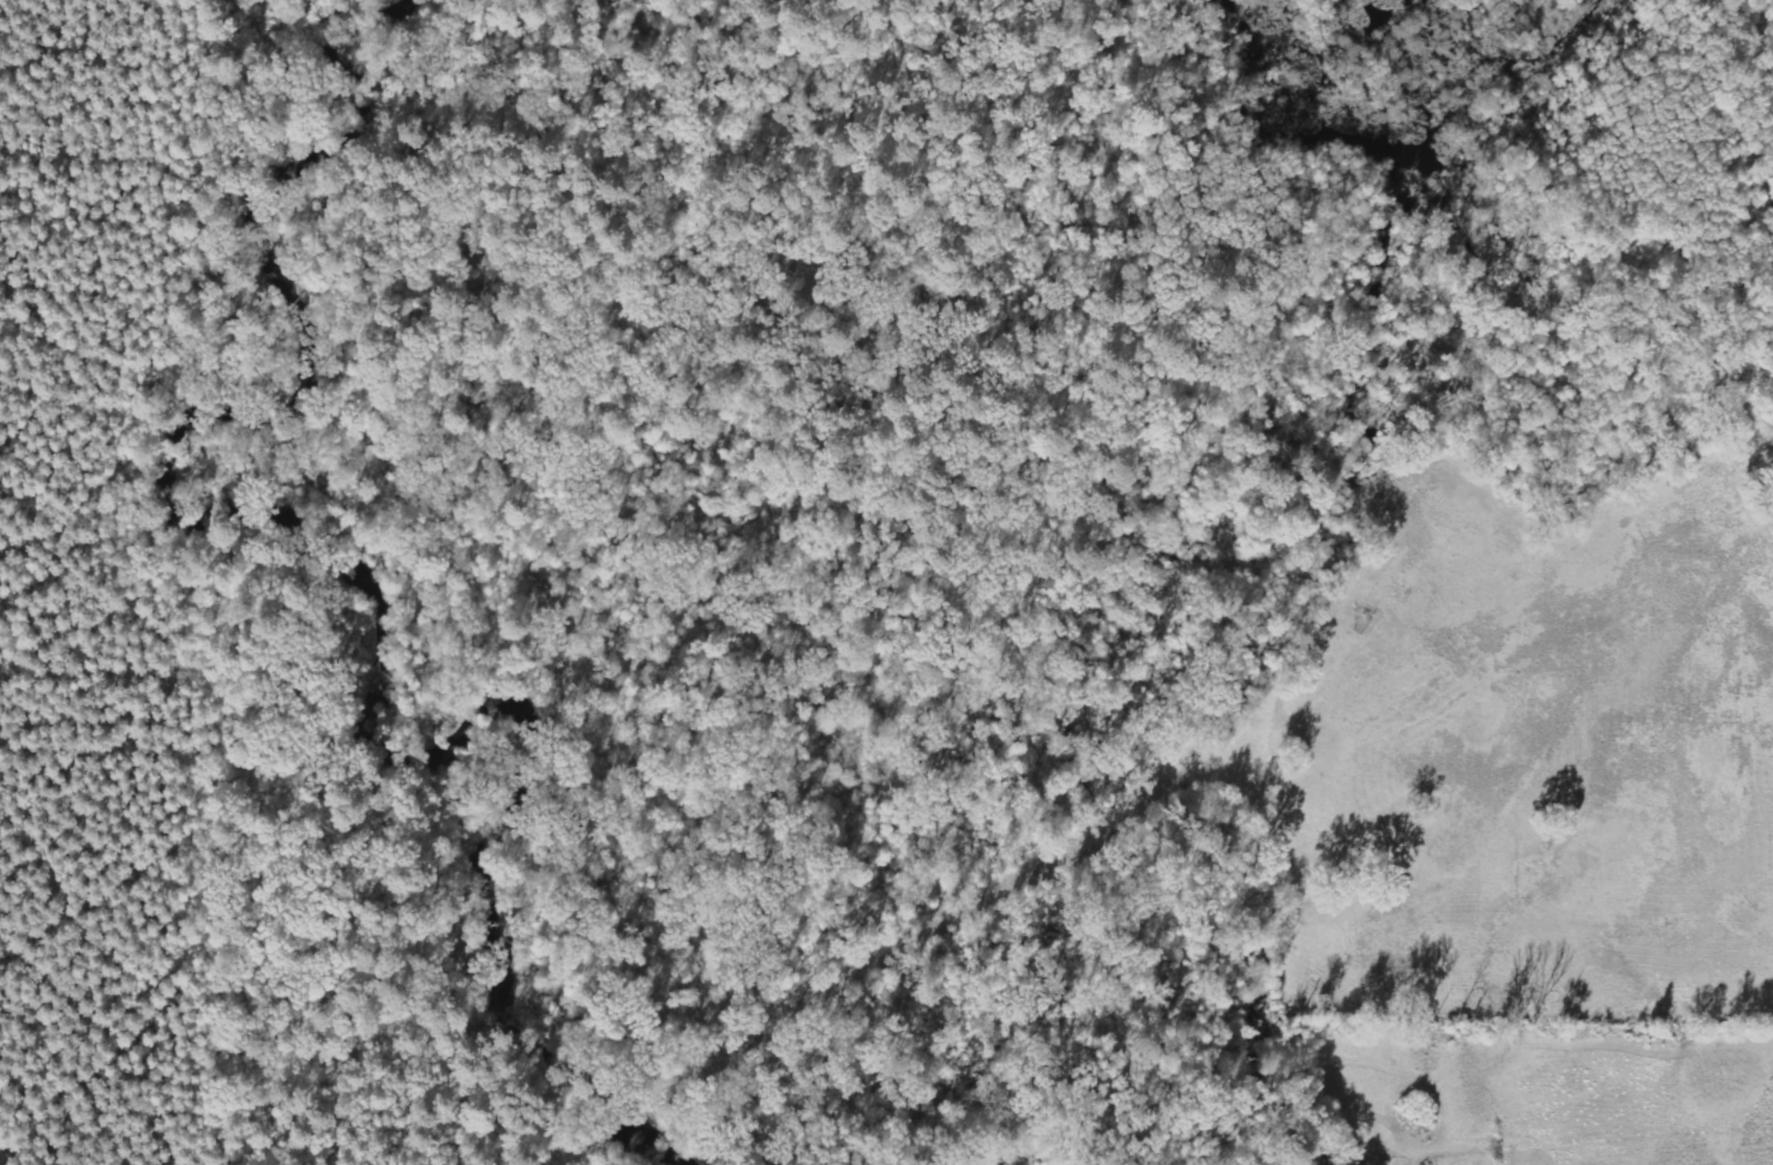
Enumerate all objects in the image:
road: (43, 24)

